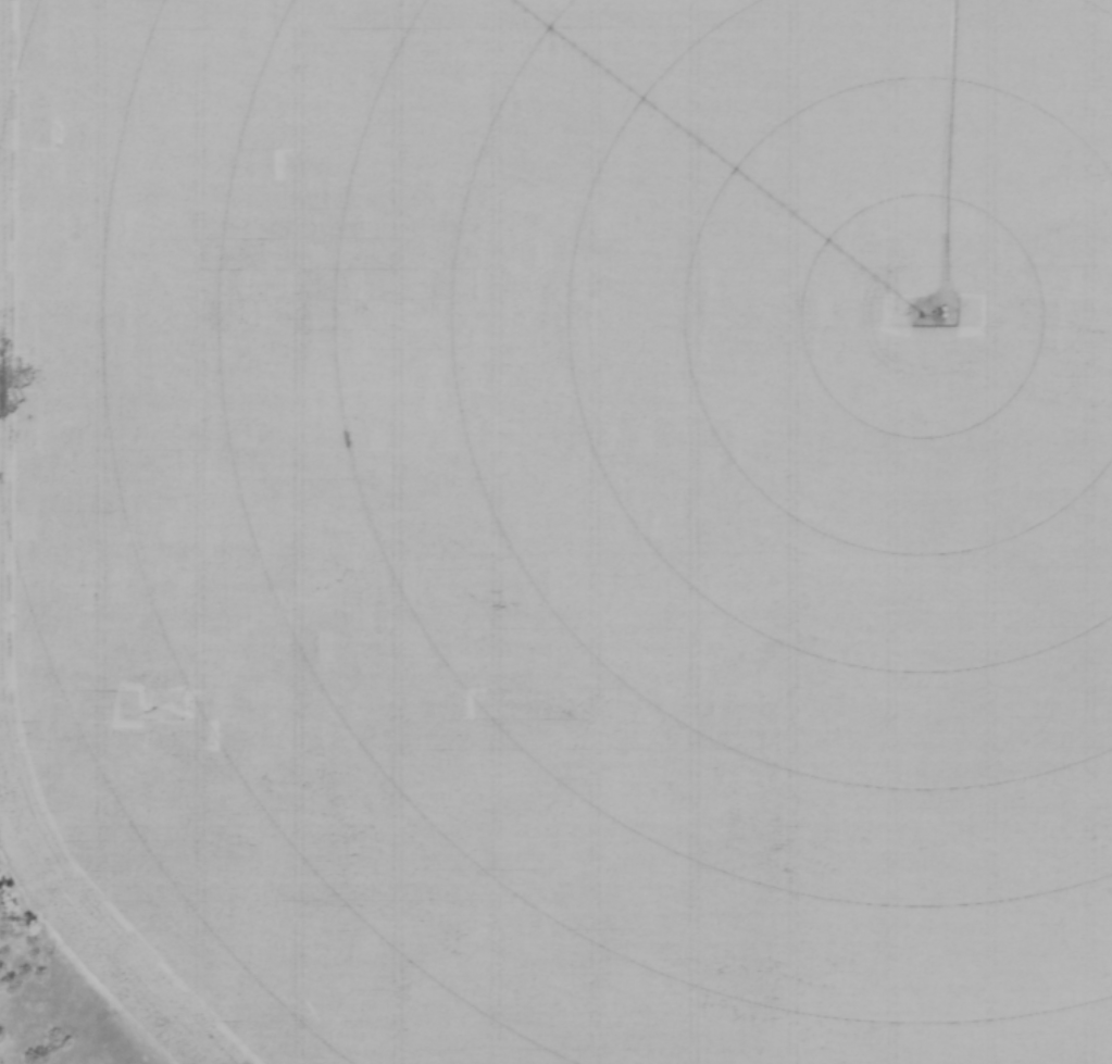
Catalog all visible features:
building: (92, 500)

